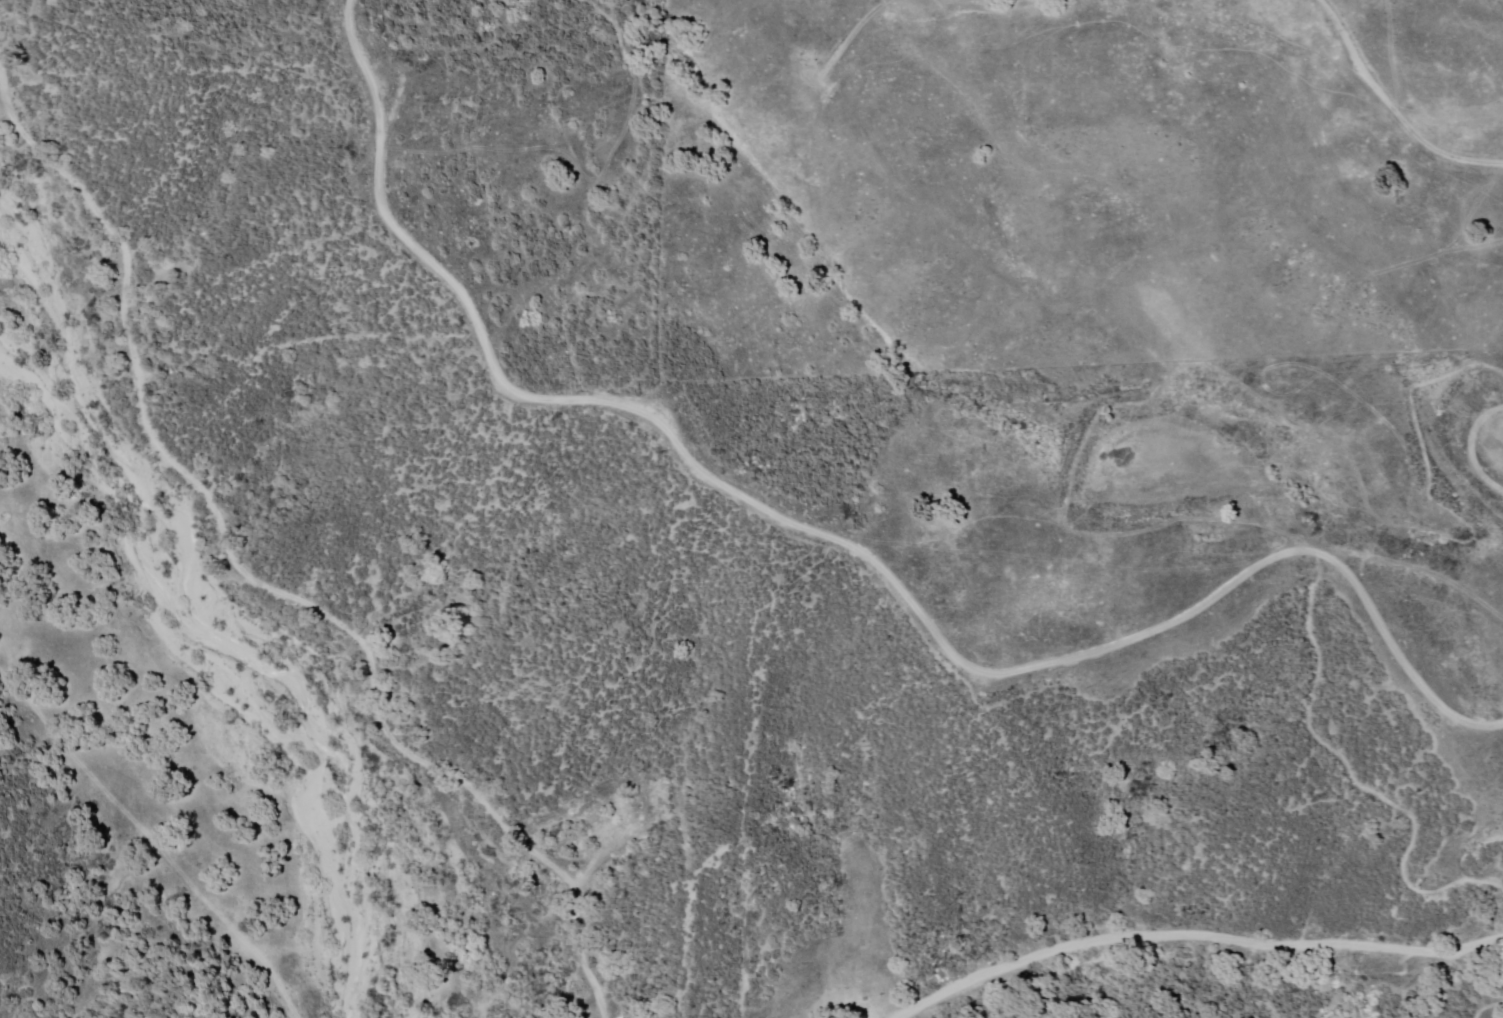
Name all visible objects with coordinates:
road: (259, 579)
road: (199, 821)
road: (1199, 933)

